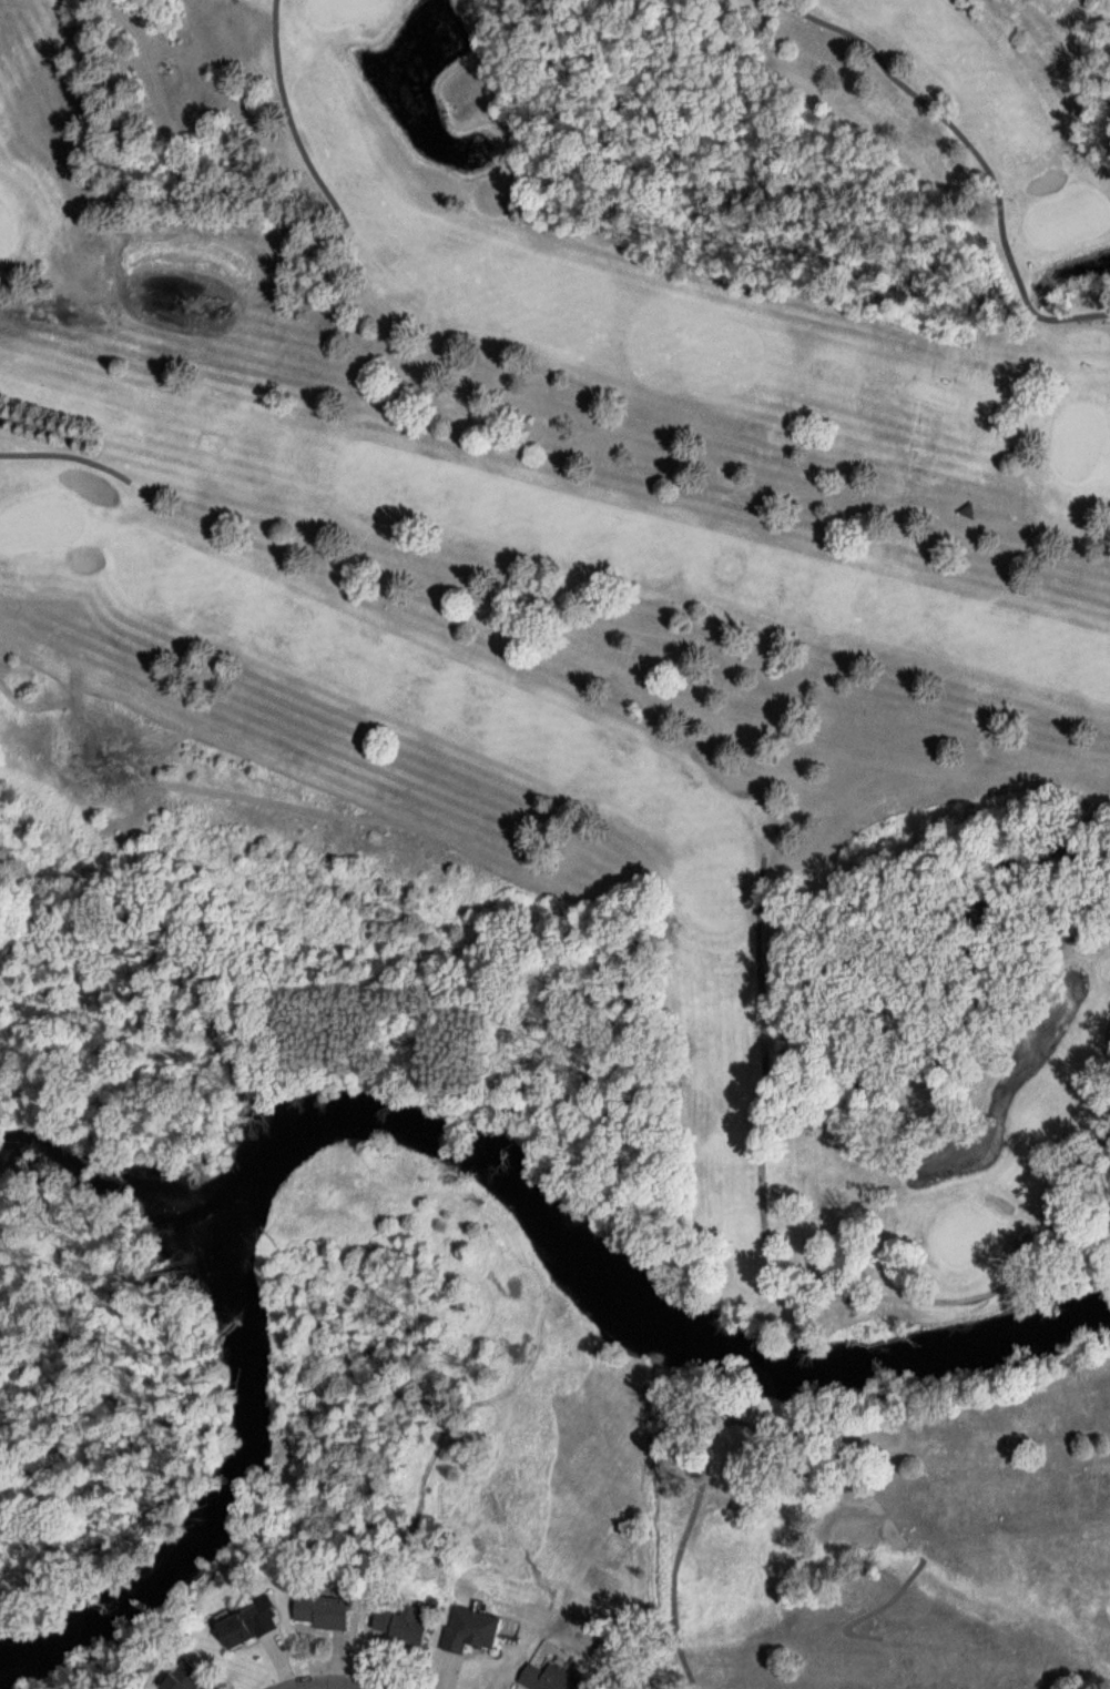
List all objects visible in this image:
park: (671, 663)
river: (407, 1117)
road: (69, 1223)
park: (83, 1349)
road: (120, 1433)
building: (324, 1612)
building: (405, 1627)
building: (185, 1679)
building: (551, 1679)
road: (335, 1685)

